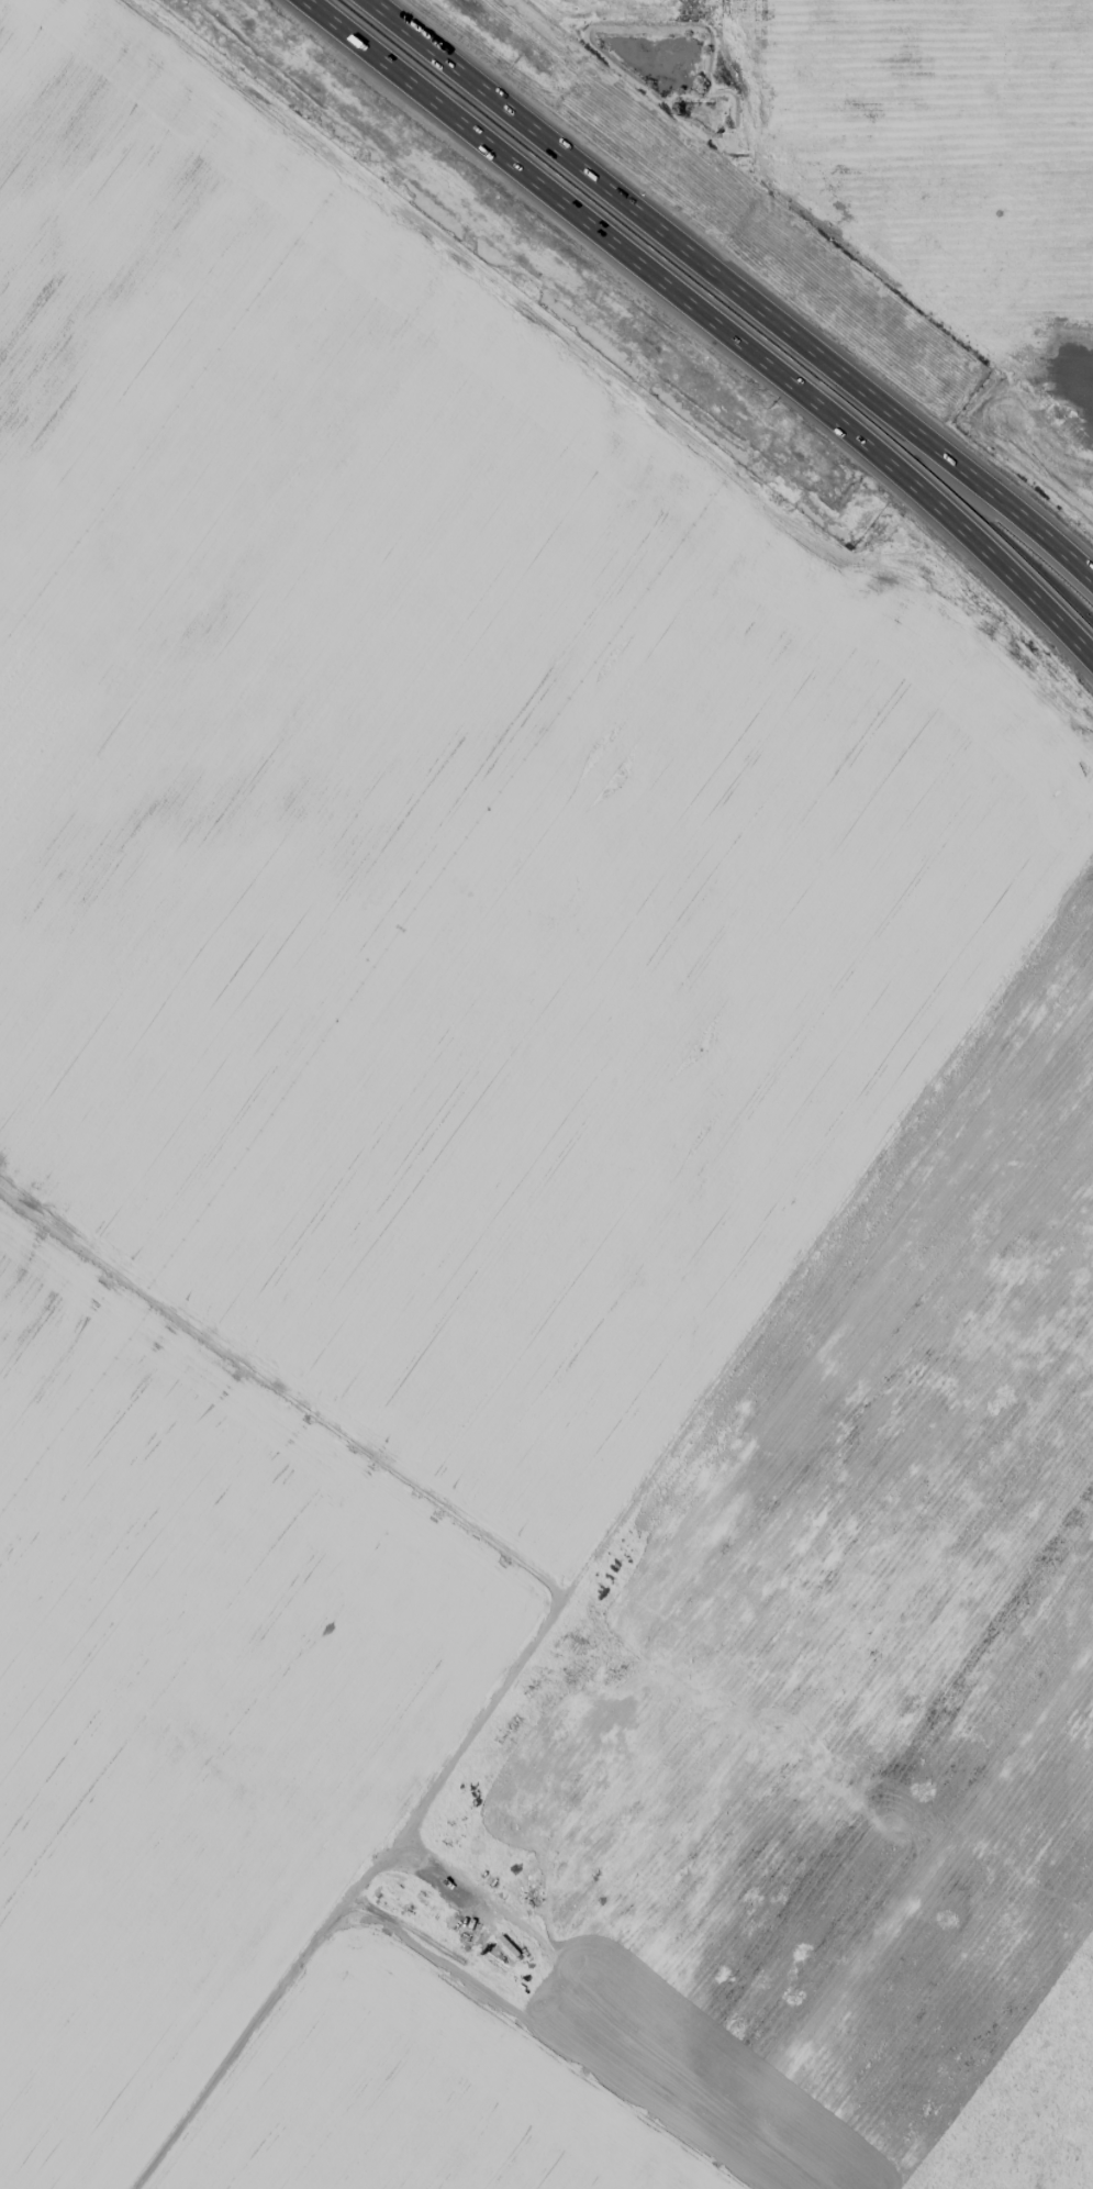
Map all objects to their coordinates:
road: (729, 290)
road: (706, 320)

